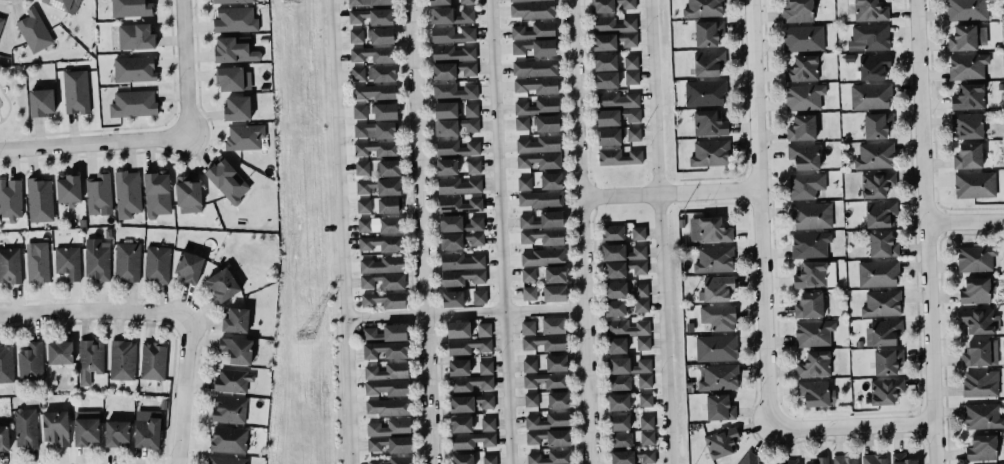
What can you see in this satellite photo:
building: (527, 0)
building: (228, 1)
power tower: (290, 1)
building: (466, 1)
building: (439, 2)
building: (61, 3)
building: (370, 3)
building: (615, 5)
building: (130, 7)
building: (701, 8)
building: (532, 10)
building: (796, 10)
building: (869, 10)
building: (965, 10)
building: (451, 16)
building: (371, 17)
building: (234, 19)
building: (1, 21)
building: (614, 24)
building: (33, 30)
building: (532, 30)
building: (706, 32)
building: (453, 34)
building: (134, 35)
building: (372, 36)
building: (872, 37)
building: (966, 37)
building: (627, 39)
building: (804, 39)
building: (605, 42)
building: (534, 46)
building: (234, 52)
building: (451, 52)
building: (373, 54)
building: (631, 62)
building: (605, 63)
building: (708, 63)
building: (871, 66)
building: (966, 66)
road: (183, 67)
building: (535, 68)
building: (135, 69)
building: (452, 69)
building: (803, 69)
building: (373, 74)
building: (632, 77)
building: (234, 79)
building: (606, 80)
building: (536, 85)
building: (75, 90)
building: (453, 90)
building: (374, 92)
building: (704, 92)
building: (967, 96)
building: (871, 99)
building: (616, 100)
building: (805, 100)
road: (8, 103)
park: (13, 103)
building: (41, 104)
building: (133, 104)
building: (538, 107)
building: (237, 108)
building: (445, 109)
building: (383, 110)
building: (471, 110)
building: (360, 112)
building: (616, 115)
road: (0, 118)
road: (0, 120)
building: (522, 123)
building: (547, 123)
building: (709, 124)
building: (454, 125)
building: (877, 126)
building: (967, 126)
building: (802, 128)
building: (374, 131)
building: (632, 133)
building: (608, 135)
building: (243, 136)
road: (93, 143)
building: (538, 143)
building: (458, 148)
building: (377, 149)
building: (709, 152)
building: (804, 156)
building: (875, 156)
building: (620, 157)
building: (968, 157)
building: (539, 160)
building: (446, 165)
building: (462, 165)
building: (473, 166)
building: (362, 168)
building: (389, 168)
building: (550, 179)
building: (227, 181)
building: (525, 184)
building: (975, 184)
building: (877, 185)
building: (459, 186)
building: (806, 186)
building: (379, 187)
building: (69, 189)
building: (98, 192)
building: (126, 192)
building: (156, 192)
building: (188, 196)
road: (668, 196)
building: (10, 199)
building: (38, 199)
building: (540, 199)
building: (388, 204)
building: (460, 204)
building: (362, 205)
building: (810, 214)
building: (880, 214)
road: (758, 216)
building: (540, 218)
building: (461, 223)
building: (379, 224)
road: (964, 224)
building: (712, 229)
road: (341, 231)
road: (580, 231)
road: (925, 231)
road: (420, 232)
road: (499, 232)
road: (658, 232)
building: (613, 233)
building: (638, 233)
building: (542, 235)
building: (462, 240)
building: (380, 244)
building: (809, 244)
building: (886, 248)
building: (614, 252)
building: (636, 253)
building: (974, 257)
building: (543, 258)
building: (713, 259)
building: (97, 260)
building: (37, 262)
building: (67, 262)
building: (127, 262)
building: (462, 262)
building: (156, 263)
building: (10, 264)
building: (188, 265)
building: (383, 265)
building: (615, 270)
building: (555, 274)
building: (878, 274)
building: (528, 275)
building: (814, 275)
building: (461, 276)
building: (383, 281)
building: (223, 285)
building: (717, 289)
building: (616, 290)
building: (641, 290)
building: (974, 290)
building: (555, 293)
building: (529, 294)
building: (463, 298)
building: (382, 299)
building: (808, 304)
building: (882, 304)
building: (641, 306)
building: (615, 308)
road: (95, 312)
road: (463, 313)
building: (719, 318)
building: (234, 319)
building: (979, 321)
building: (553, 325)
building: (528, 328)
building: (626, 328)
building: (458, 329)
building: (484, 330)
building: (812, 332)
building: (882, 332)
building: (387, 334)
power tower: (304, 337)
building: (544, 343)
building: (643, 343)
building: (617, 346)
building: (466, 348)
building: (716, 348)
building: (237, 350)
building: (385, 351)
building: (976, 352)
building: (59, 353)
building: (31, 359)
building: (122, 359)
building: (153, 360)
building: (88, 362)
building: (555, 362)
building: (887, 362)
building: (6, 364)
building: (627, 365)
building: (815, 365)
building: (530, 366)
building: (459, 368)
building: (486, 368)
building: (396, 369)
building: (718, 377)
building: (546, 380)
building: (233, 381)
building: (645, 381)
building: (470, 382)
building: (619, 383)
building: (981, 384)
building: (387, 388)
building: (884, 390)
road: (184, 391)
building: (816, 393)
building: (531, 400)
building: (558, 400)
building: (646, 400)
building: (484, 402)
building: (619, 402)
building: (461, 404)
building: (384, 405)
building: (719, 408)
building: (228, 410)
building: (982, 415)
building: (548, 420)
building: (621, 422)
building: (647, 422)
building: (461, 423)
building: (488, 424)
building: (390, 427)
building: (56, 428)
road: (851, 428)
building: (25, 429)
building: (86, 432)
building: (117, 433)
building: (149, 433)
building: (550, 437)
building: (647, 438)
building: (4, 439)
building: (228, 439)
building: (471, 439)
building: (621, 440)
building: (721, 443)
building: (393, 444)
building: (981, 447)
building: (549, 457)
building: (633, 457)
building: (748, 458)
building: (463, 459)
building: (489, 459)
building: (872, 459)
building: (901, 459)
building: (227, 460)
building: (394, 460)
building: (821, 460)
building: (846, 460)
building: (790, 462)

